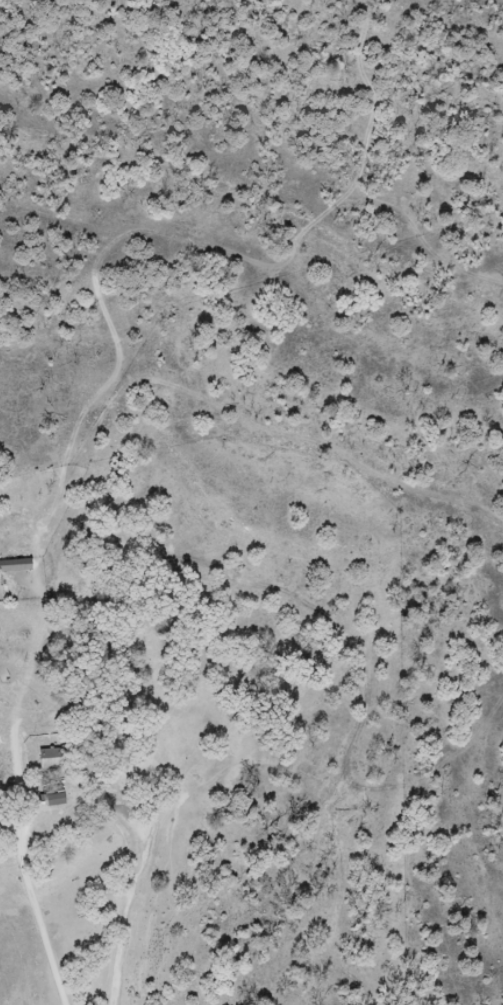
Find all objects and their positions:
building: (16, 566)
building: (54, 760)
road: (20, 807)

